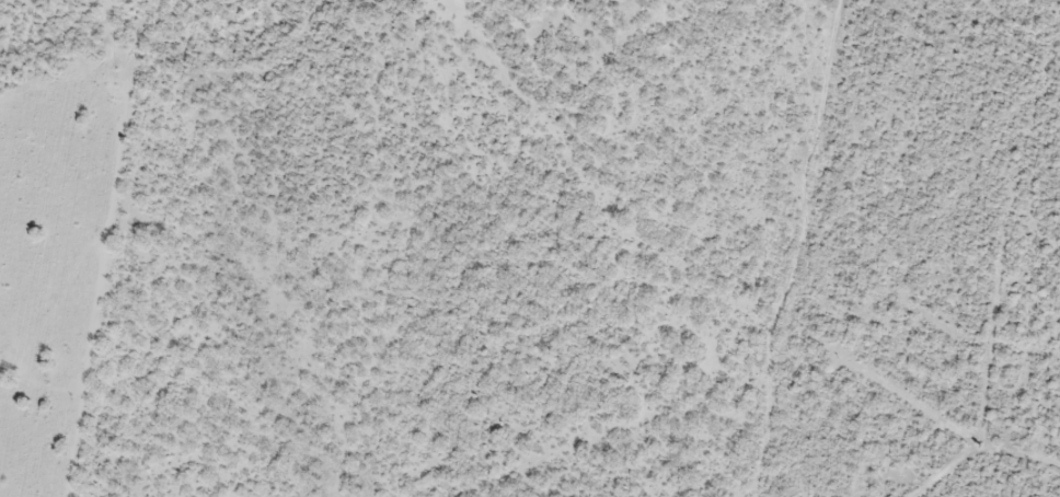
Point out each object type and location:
road: (830, 248)

